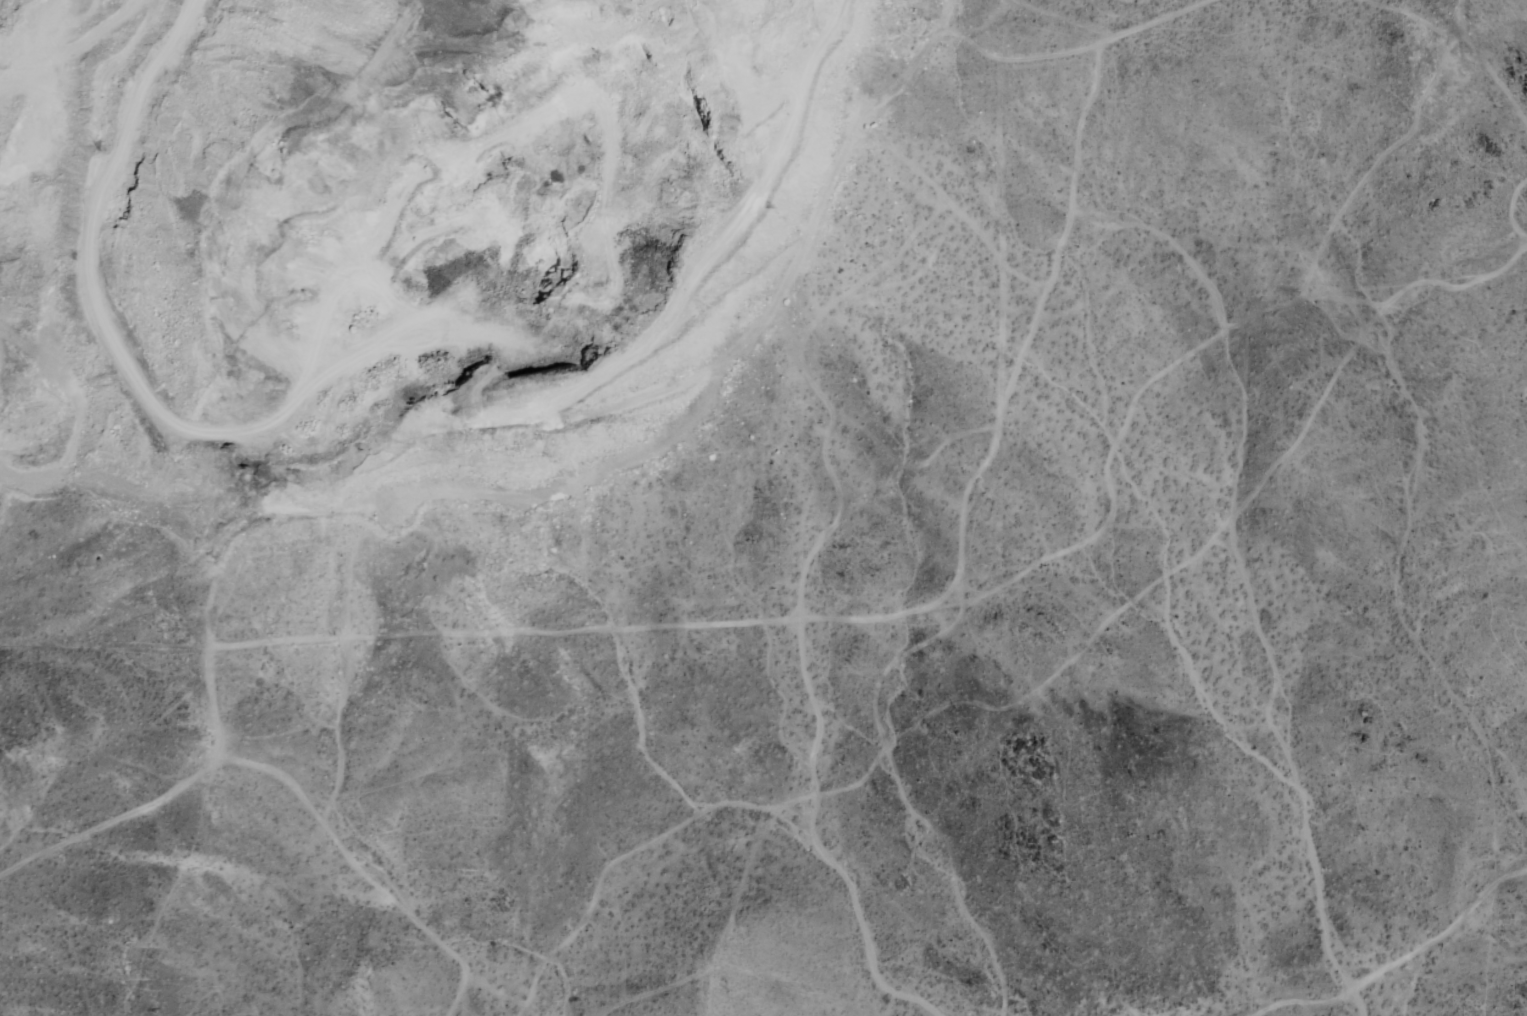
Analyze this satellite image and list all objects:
quarry: (360, 257)

